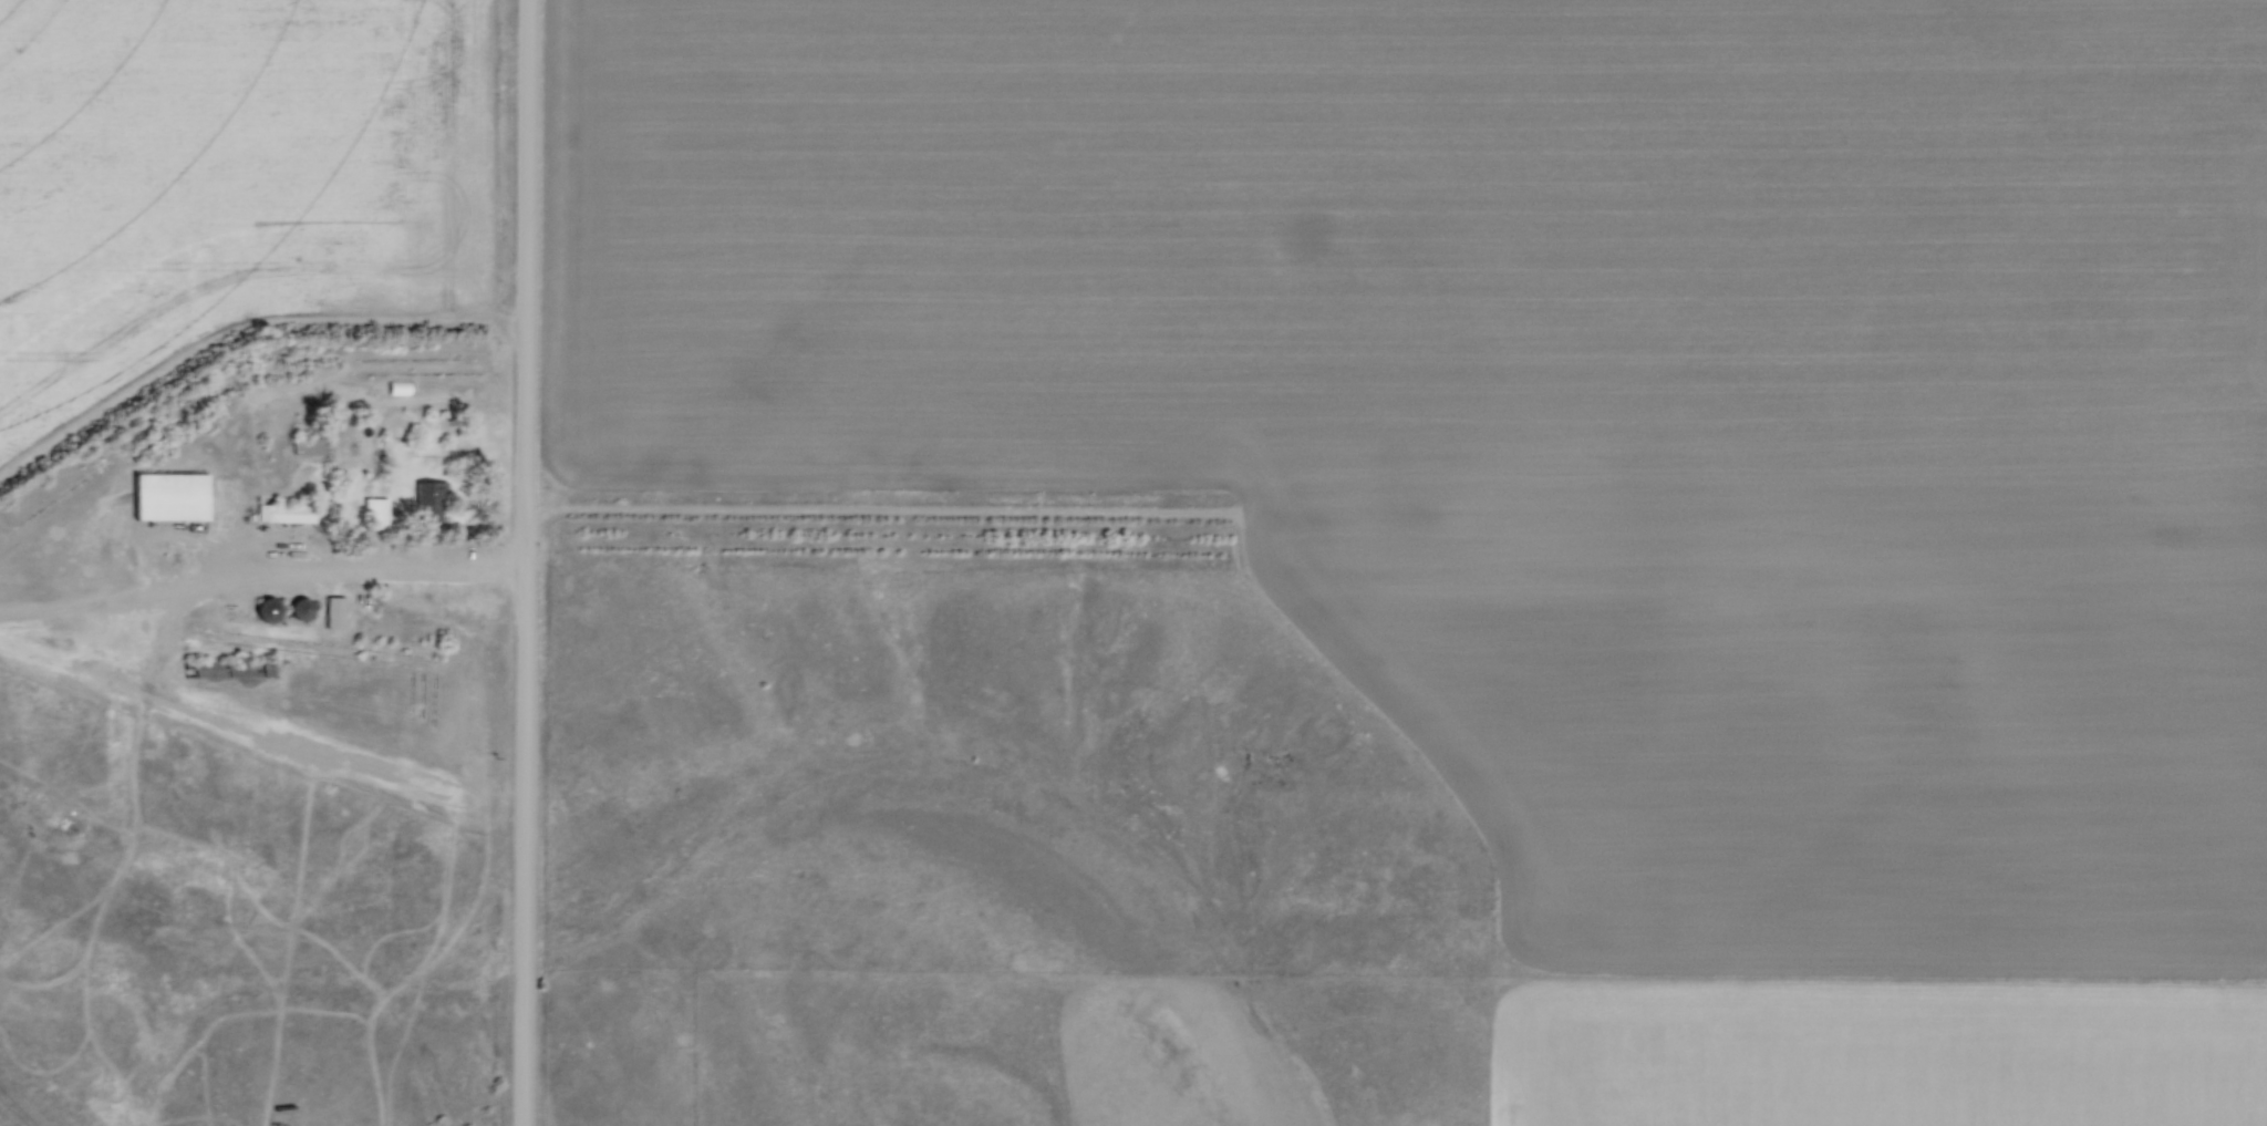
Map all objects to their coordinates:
crop: (227, 176)
building: (309, 443)
crop: (1573, 457)
building: (172, 497)
building: (428, 499)
building: (287, 510)
building: (376, 514)
road: (527, 562)
road: (261, 572)
building: (268, 609)
silo: (268, 609)
building: (300, 609)
silo: (300, 609)
building: (232, 667)

